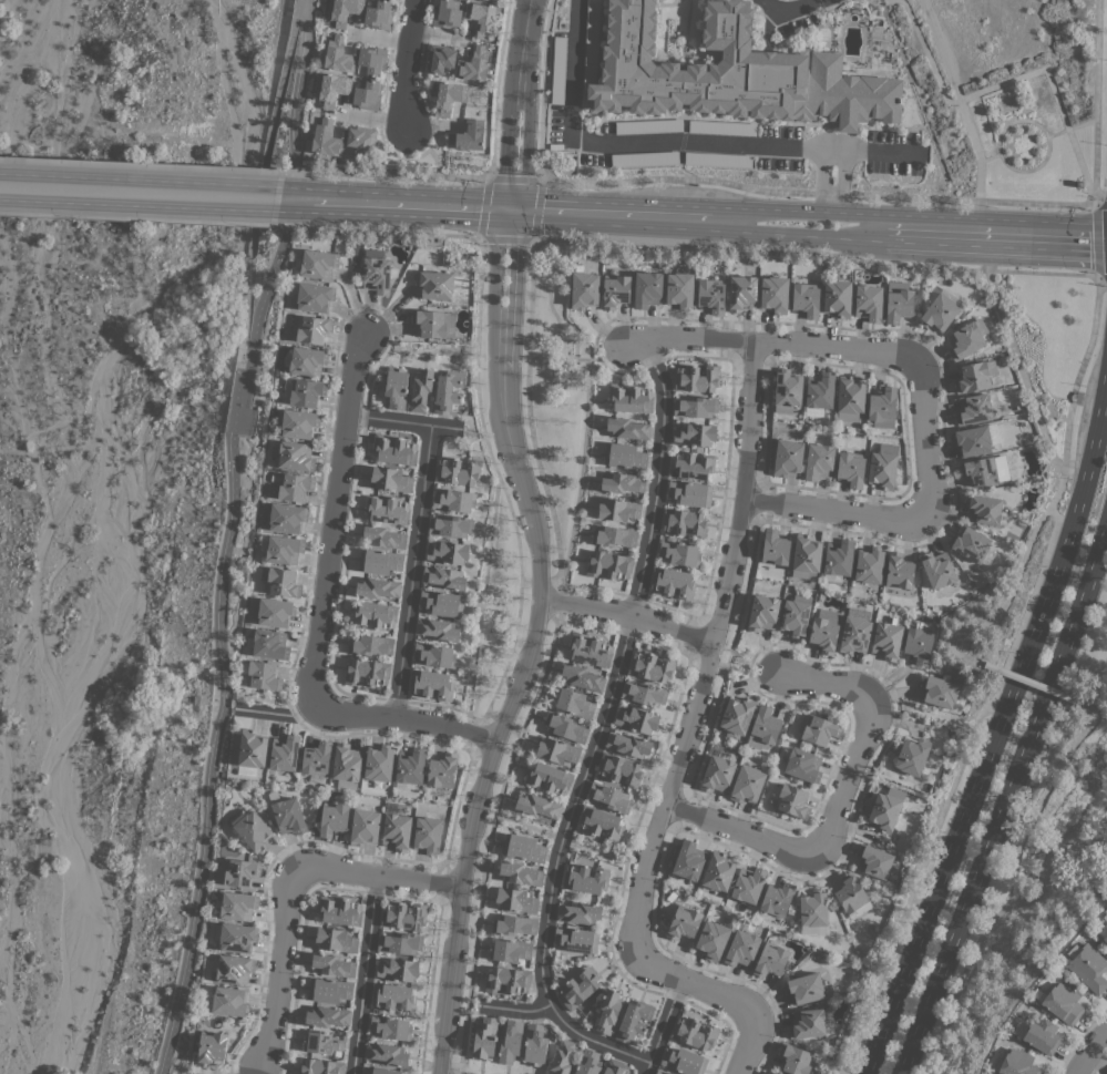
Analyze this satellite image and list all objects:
road: (875, 1)
road: (786, 10)
building: (344, 11)
building: (447, 13)
building: (378, 14)
building: (481, 18)
building: (591, 41)
road: (925, 54)
building: (338, 55)
building: (440, 58)
building: (372, 59)
road: (406, 64)
building: (473, 64)
building: (558, 70)
building: (731, 73)
building: (332, 88)
road: (1050, 88)
building: (367, 94)
building: (449, 96)
road: (957, 98)
road: (296, 100)
road: (1006, 102)
building: (648, 126)
building: (721, 127)
road: (1069, 127)
building: (468, 135)
building: (326, 139)
building: (360, 139)
road: (673, 139)
road: (428, 147)
road: (988, 156)
building: (644, 157)
building: (717, 158)
road: (1001, 162)
road: (140, 164)
road: (381, 172)
road: (830, 187)
road: (140, 193)
road: (920, 197)
road: (303, 201)
traffic signals: (509, 211)
road: (576, 214)
road: (135, 218)
road: (373, 231)
road: (966, 232)
road: (476, 237)
road: (1096, 238)
building: (318, 264)
building: (376, 274)
building: (434, 284)
building: (679, 288)
building: (584, 289)
building: (647, 289)
building: (615, 290)
building: (741, 293)
road: (263, 294)
building: (773, 294)
building: (711, 295)
building: (314, 297)
building: (837, 298)
building: (806, 299)
building: (898, 301)
building: (868, 303)
road: (549, 306)
building: (939, 313)
building: (430, 323)
building: (314, 329)
building: (966, 339)
road: (773, 345)
road: (419, 350)
road: (611, 351)
road: (532, 356)
road: (537, 357)
road: (584, 358)
building: (307, 360)
building: (974, 376)
building: (696, 378)
building: (396, 387)
building: (420, 389)
building: (820, 389)
building: (787, 390)
building: (306, 391)
building: (448, 392)
building: (629, 398)
building: (850, 398)
building: (695, 407)
road: (527, 408)
building: (882, 408)
building: (973, 408)
road: (1067, 413)
road: (404, 421)
building: (298, 423)
building: (627, 428)
building: (694, 434)
building: (972, 440)
building: (394, 450)
building: (295, 456)
building: (624, 456)
building: (787, 457)
building: (818, 461)
building: (690, 466)
building: (883, 466)
building: (851, 468)
building: (457, 471)
building: (980, 471)
road: (580, 474)
building: (391, 479)
building: (623, 482)
road: (499, 484)
building: (294, 485)
building: (690, 493)
building: (453, 501)
building: (618, 509)
building: (983, 509)
building: (387, 510)
road: (902, 516)
building: (287, 518)
building: (683, 521)
building: (451, 525)
road: (227, 536)
building: (383, 536)
building: (614, 536)
road: (534, 540)
building: (970, 543)
building: (775, 548)
building: (284, 549)
building: (447, 552)
building: (679, 552)
building: (806, 556)
building: (838, 559)
building: (379, 561)
building: (608, 564)
building: (869, 564)
building: (937, 569)
road: (411, 571)
building: (899, 571)
building: (444, 577)
building: (280, 581)
building: (673, 582)
building: (378, 587)
road: (480, 595)
road: (500, 595)
road: (554, 601)
building: (442, 603)
road: (1001, 606)
road: (321, 611)
building: (273, 612)
building: (762, 612)
building: (373, 615)
road: (625, 615)
building: (795, 617)
road: (337, 627)
building: (437, 630)
building: (824, 630)
building: (854, 634)
building: (886, 640)
building: (268, 644)
building: (370, 644)
building: (919, 644)
road: (492, 646)
building: (590, 649)
building: (434, 655)
road: (745, 656)
building: (652, 666)
building: (367, 672)
building: (262, 675)
building: (582, 677)
road: (1025, 679)
building: (431, 684)
building: (939, 692)
building: (644, 693)
road: (267, 699)
building: (573, 702)
road: (920, 709)
road: (277, 712)
building: (737, 714)
building: (636, 719)
building: (765, 725)
road: (995, 726)
building: (565, 727)
road: (597, 727)
building: (819, 729)
road: (681, 741)
building: (628, 744)
building: (252, 748)
building: (556, 750)
building: (284, 753)
building: (912, 755)
building: (316, 758)
building: (379, 763)
building: (346, 765)
building: (410, 765)
building: (803, 765)
building: (619, 769)
building: (442, 770)
building: (717, 774)
building: (549, 778)
building: (747, 784)
road: (1046, 787)
building: (609, 797)
road: (1004, 798)
building: (792, 801)
building: (536, 805)
road: (838, 809)
building: (885, 809)
building: (288, 815)
building: (332, 818)
building: (601, 822)
building: (363, 826)
building: (250, 828)
building: (397, 831)
building: (428, 835)
road: (488, 839)
building: (522, 847)
road: (1047, 855)
building: (688, 860)
building: (873, 860)
building: (718, 871)
building: (239, 872)
building: (520, 873)
building: (585, 878)
building: (748, 884)
road: (285, 889)
building: (850, 892)
building: (777, 898)
building: (516, 899)
building: (237, 906)
building: (812, 908)
building: (339, 911)
building: (578, 913)
building: (403, 916)
building: (683, 922)
building: (513, 924)
building: (237, 937)
building: (336, 939)
building: (576, 939)
building: (713, 939)
building: (1105, 939)
building: (400, 943)
building: (741, 948)
building: (509, 950)
building: (770, 959)
building: (332, 965)
building: (1088, 968)
building: (232, 969)
building: (398, 970)
road: (361, 975)
road: (429, 978)
building: (508, 980)
road: (960, 981)
building: (578, 988)
building: (804, 988)
building: (329, 990)
building: (393, 996)
building: (229, 1001)
building: (1062, 1002)
road: (514, 1010)
building: (608, 1011)
building: (327, 1015)
building: (634, 1021)
building: (807, 1023)
building: (390, 1026)
road: (662, 1026)
building: (694, 1033)
building: (1042, 1035)
building: (484, 1037)
building: (324, 1042)
building: (510, 1042)
building: (535, 1044)
building: (211, 1047)
road: (1089, 1050)
building: (387, 1053)
building: (562, 1057)
building: (796, 1058)
building: (684, 1061)
building: (587, 1062)
building: (1017, 1063)
building: (321, 1066)
building: (615, 1067)
building: (379, 1071)
building: (660, 1071)
building: (771, 1072)

